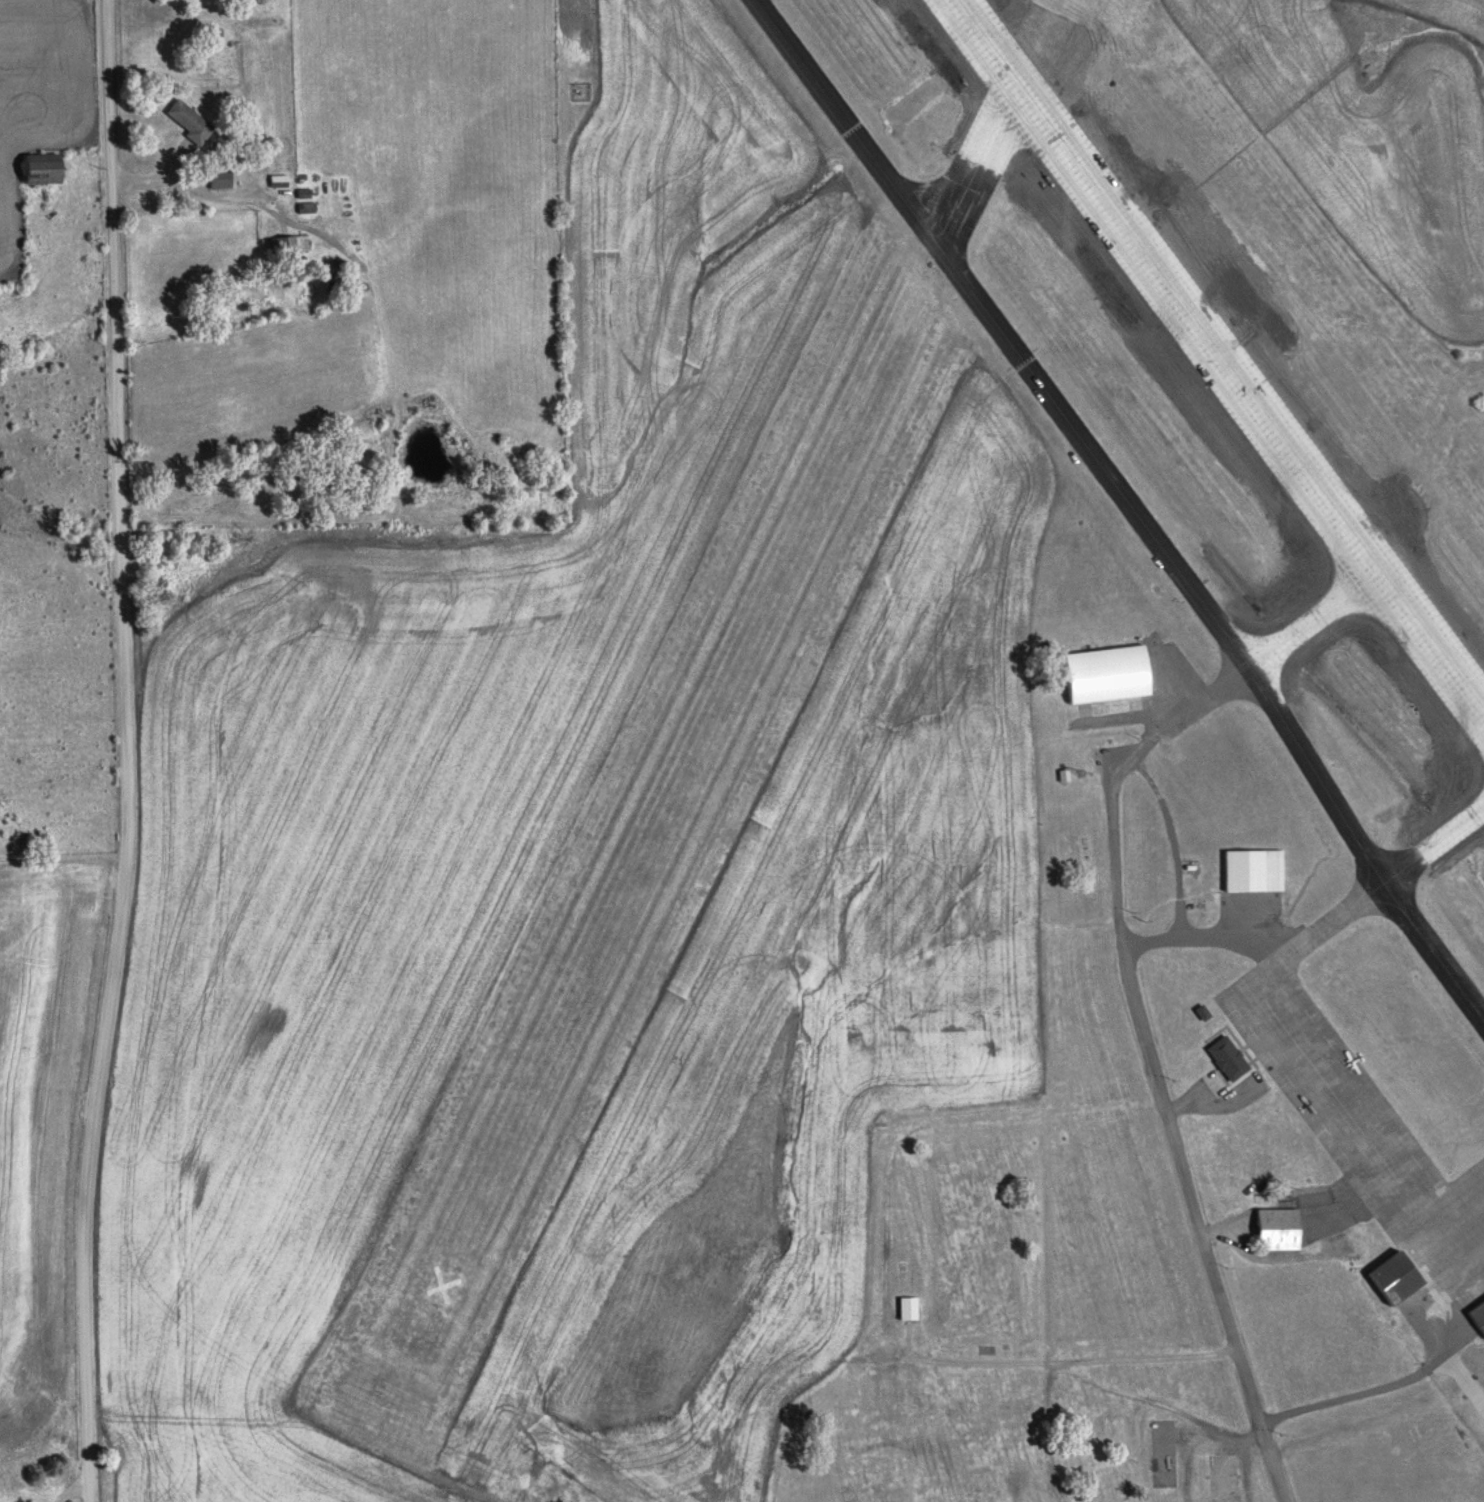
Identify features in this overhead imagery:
building: (185, 120)
building: (35, 168)
building: (215, 177)
building: (286, 243)
airport runway: (1218, 357)
airport taxiway: (1128, 501)
airport taxiway: (1298, 638)
building: (1104, 677)
airport runway: (715, 713)
airport apron: (1207, 734)
road: (126, 751)
road: (1177, 842)
road: (1306, 853)
airport: (994, 867)
airport taxiway: (1412, 868)
building: (1254, 873)
road: (1182, 936)
building: (1233, 1055)
road: (1215, 1106)
road: (1171, 1113)
airport apron: (1355, 1130)
building: (1278, 1230)
road: (1227, 1235)
building: (1393, 1279)
road: (886, 1304)
building: (906, 1308)
building: (1476, 1318)
road: (1150, 1361)
road: (1350, 1400)

